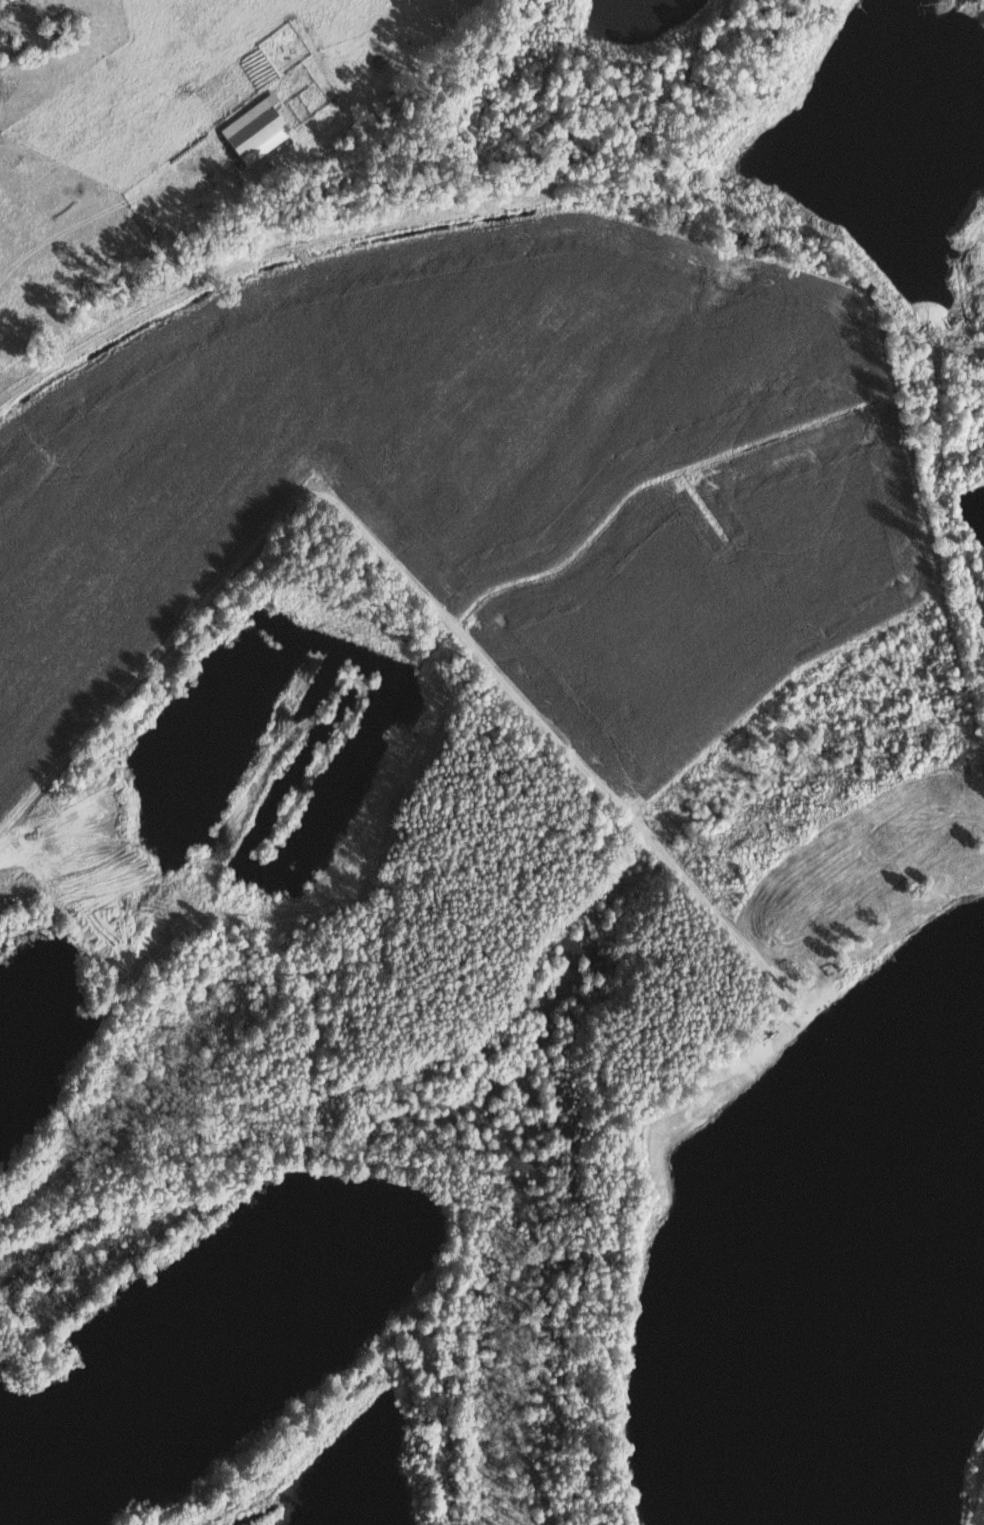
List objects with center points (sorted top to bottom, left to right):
building: (257, 130)
road: (343, 1161)

